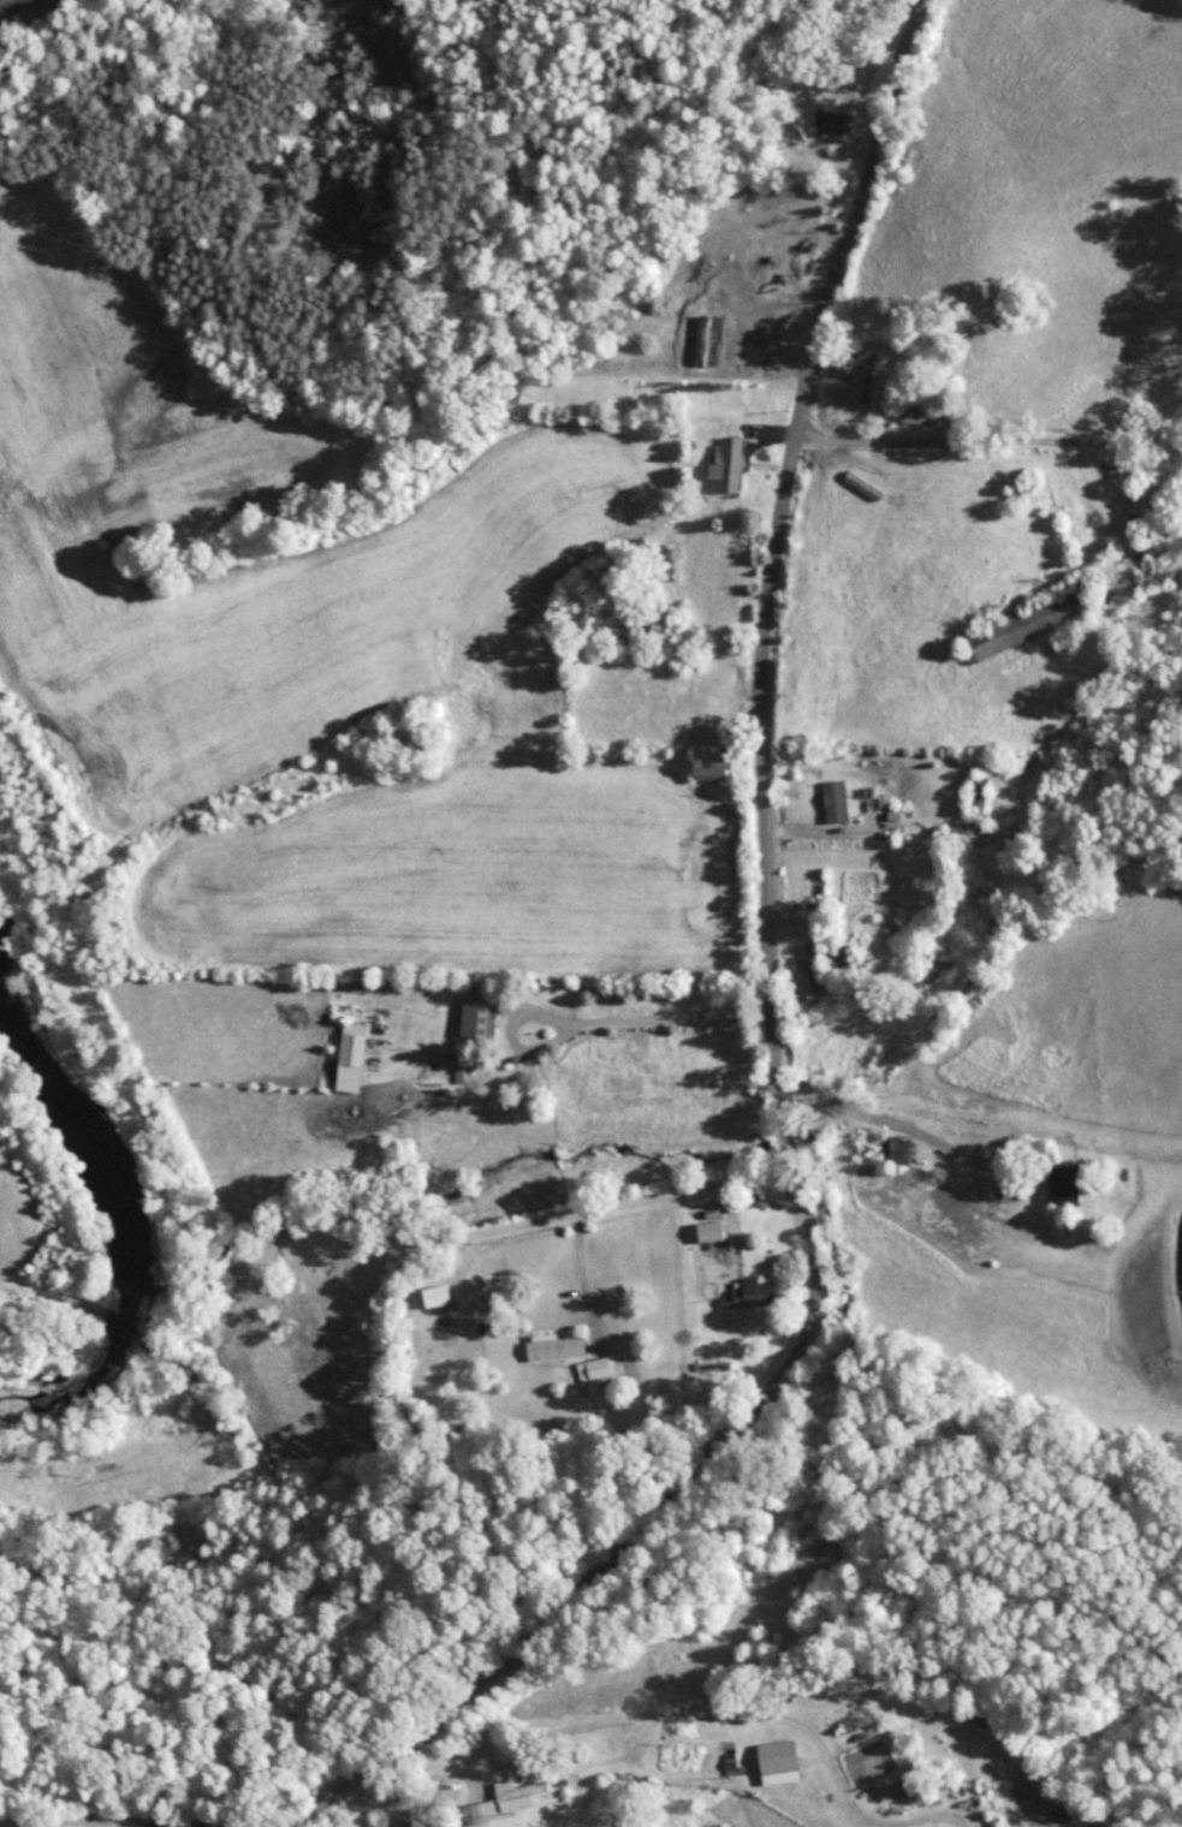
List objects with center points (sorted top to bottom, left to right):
railway: (11, 5)
road: (865, 76)
building: (831, 119)
building: (750, 335)
building: (854, 363)
building: (927, 416)
road: (987, 438)
building: (730, 462)
building: (1157, 493)
building: (1030, 621)
road: (761, 637)
building: (715, 766)
building: (984, 793)
building: (836, 799)
building: (839, 958)
building: (813, 964)
building: (475, 1020)
road: (647, 1026)
building: (354, 1055)
building: (896, 1149)
building: (1067, 1183)
river: (131, 1203)
building: (708, 1230)
building: (755, 1290)
building: (438, 1297)
building: (554, 1345)
building: (593, 1368)
road: (379, 1383)
road: (581, 1588)
building: (608, 1746)
building: (522, 1795)
building: (491, 1808)
building: (415, 1823)

